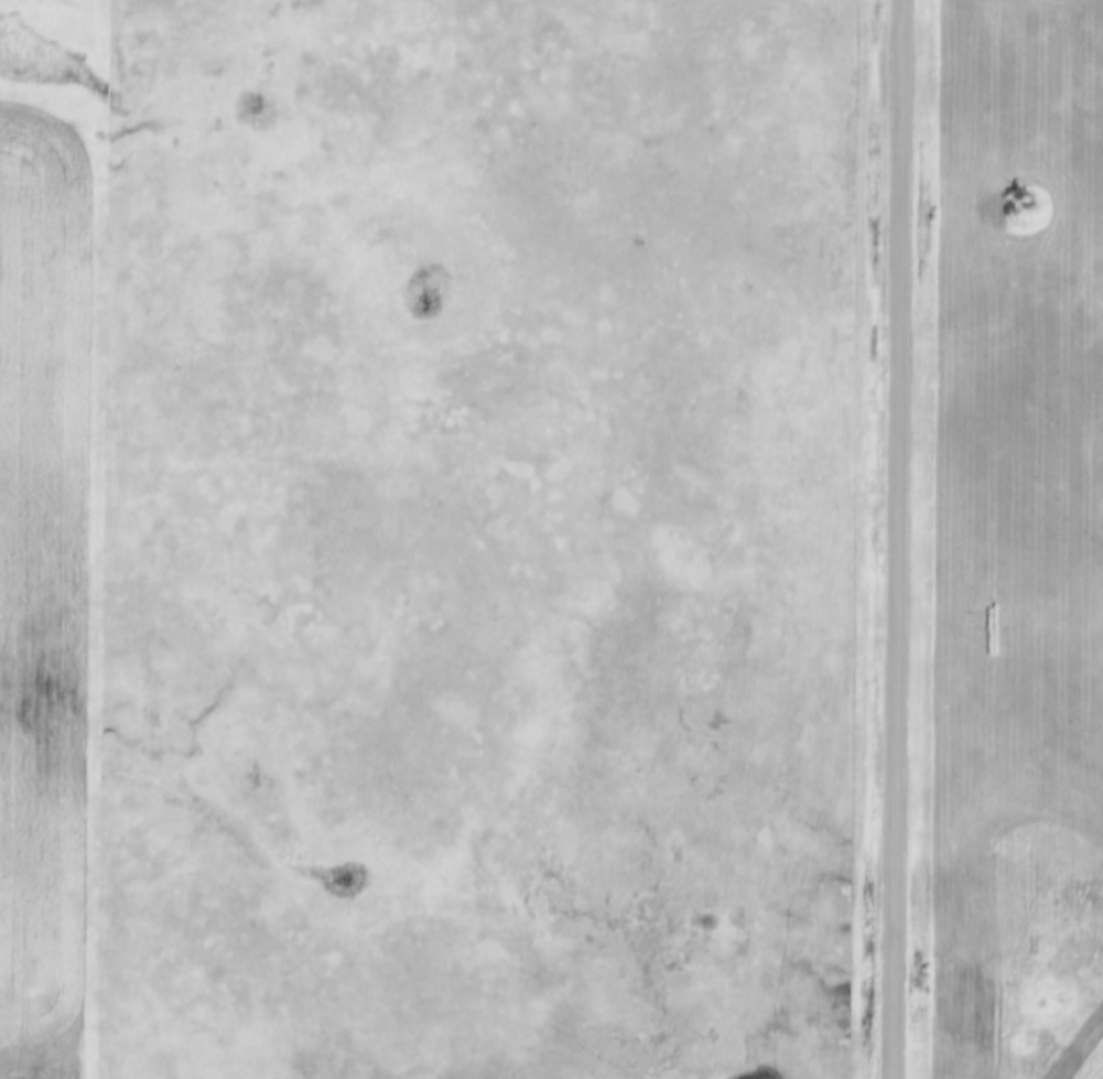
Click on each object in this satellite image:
road: (899, 539)

